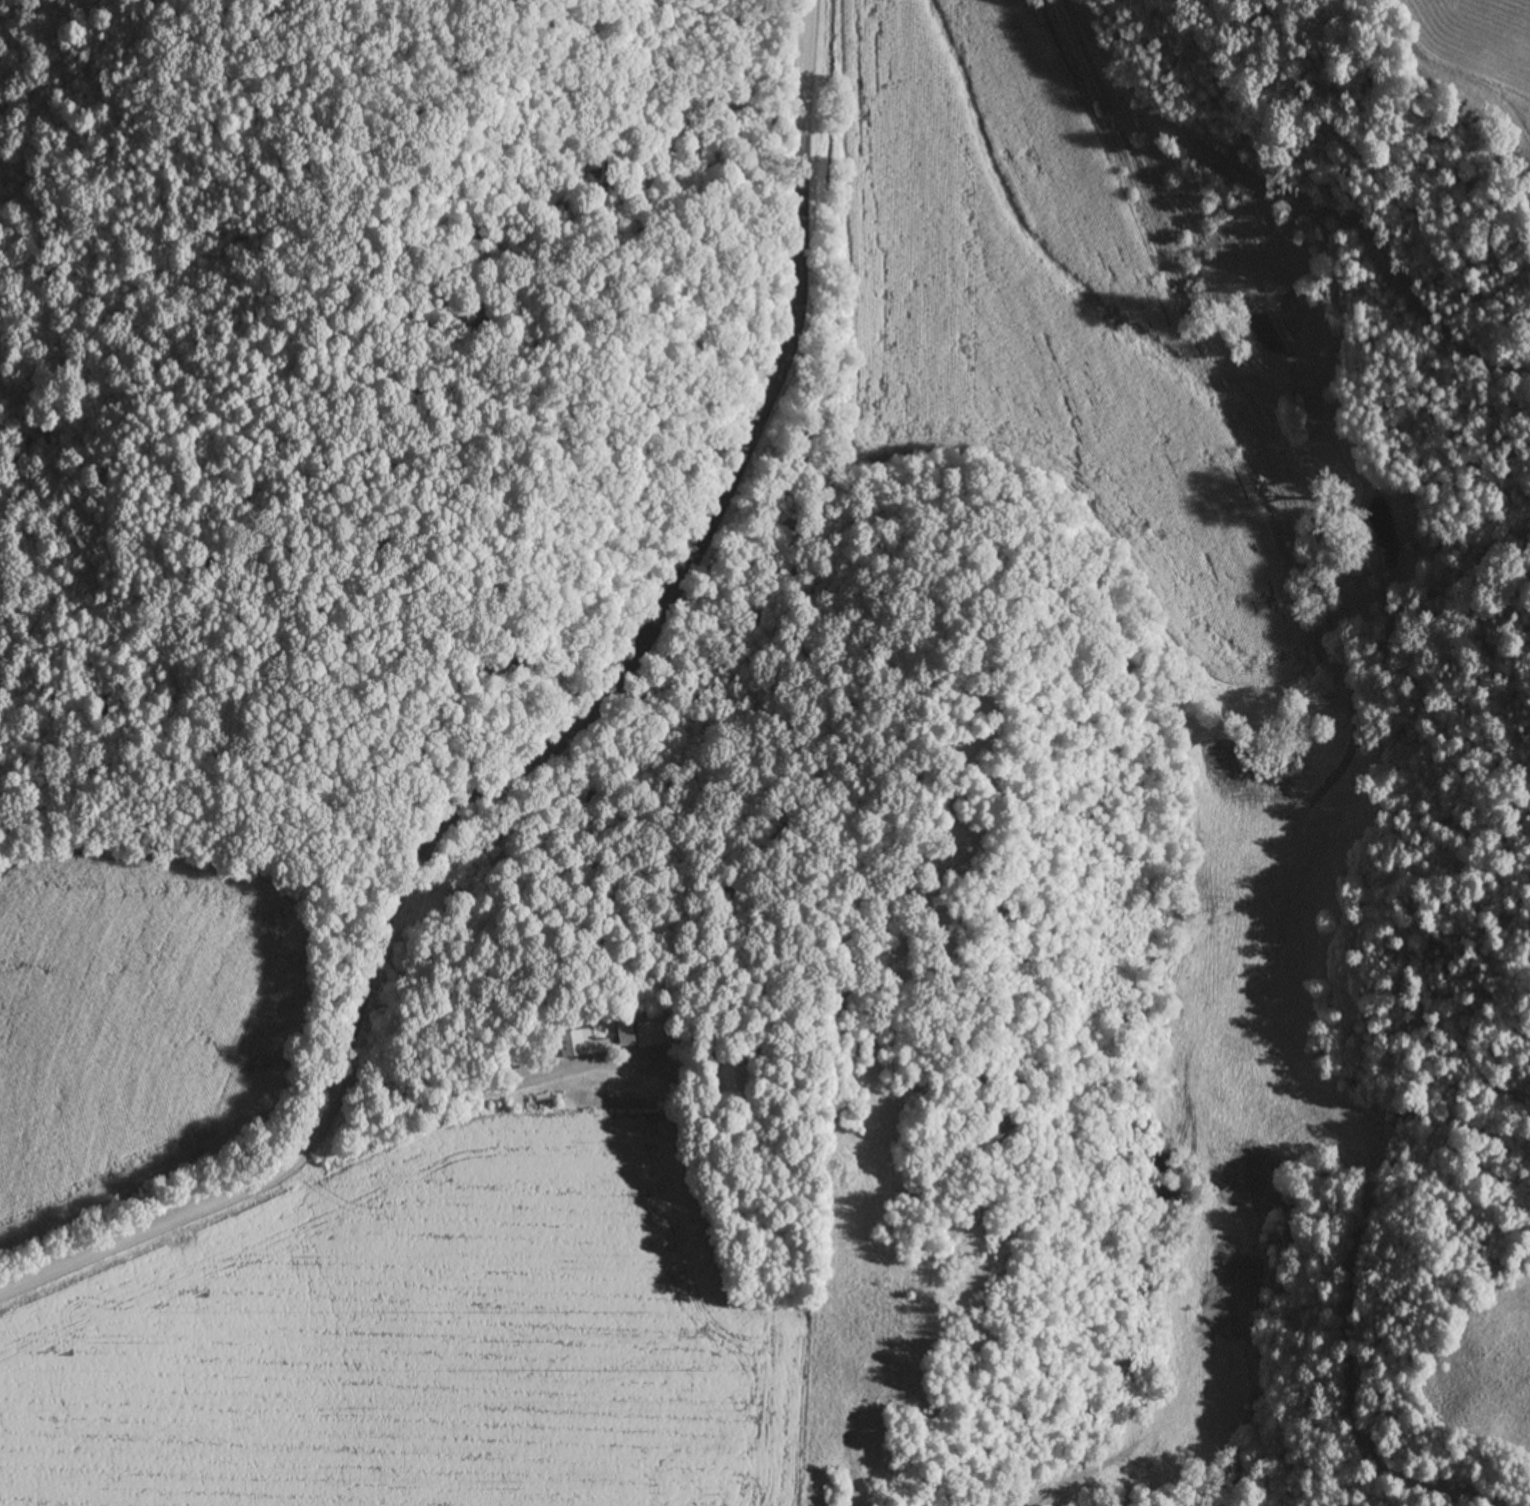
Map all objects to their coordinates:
road: (547, 749)
crop: (151, 1040)
building: (731, 1076)
road: (491, 1088)

